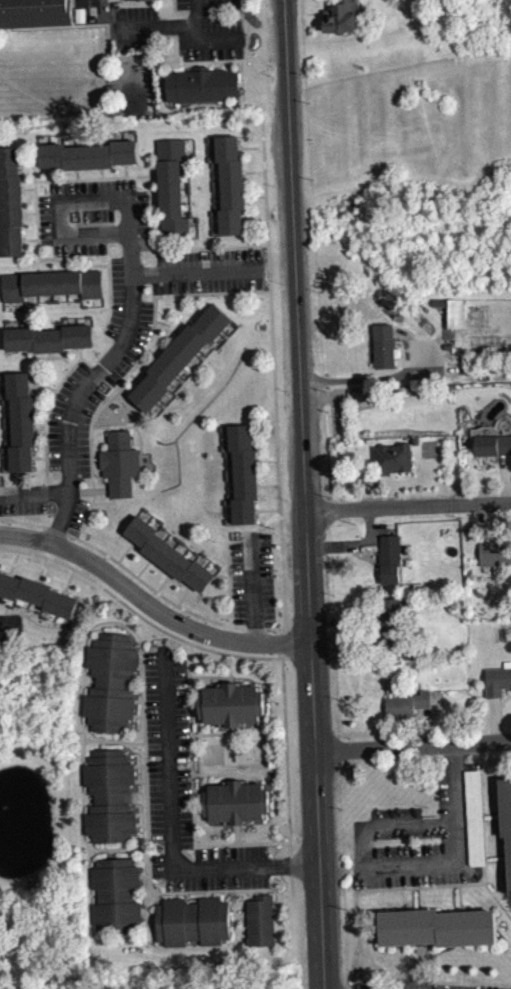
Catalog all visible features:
building: (141, 3)
building: (35, 13)
building: (341, 17)
road: (168, 23)
parking lot: (185, 27)
road: (212, 39)
road: (189, 40)
building: (203, 84)
road: (250, 147)
building: (88, 154)
road: (126, 169)
road: (254, 171)
road: (52, 172)
road: (102, 172)
road: (77, 173)
road: (155, 175)
road: (85, 177)
building: (231, 185)
road: (28, 187)
building: (172, 189)
road: (150, 194)
road: (255, 196)
building: (11, 202)
road: (30, 211)
parking lot: (95, 216)
road: (254, 220)
road: (37, 226)
road: (157, 226)
road: (30, 238)
road: (187, 247)
road: (23, 263)
road: (96, 264)
parking lot: (208, 270)
road: (197, 272)
building: (52, 283)
road: (199, 293)
road: (110, 295)
road: (135, 300)
road: (194, 305)
building: (450, 309)
road: (155, 320)
building: (49, 338)
building: (383, 344)
road: (142, 352)
road: (50, 354)
building: (179, 356)
road: (44, 357)
parking lot: (99, 370)
road: (391, 375)
road: (43, 384)
road: (111, 390)
road: (48, 409)
building: (21, 420)
road: (96, 426)
road: (40, 432)
road: (264, 436)
building: (492, 444)
road: (39, 457)
building: (391, 458)
road: (266, 460)
building: (119, 463)
building: (243, 473)
road: (87, 477)
road: (268, 485)
road: (93, 494)
road: (305, 494)
road: (33, 495)
parking lot: (22, 499)
road: (408, 506)
road: (89, 508)
road: (267, 508)
road: (280, 529)
road: (250, 530)
road: (125, 551)
building: (495, 552)
building: (168, 554)
building: (389, 558)
road: (13, 562)
road: (142, 567)
building: (510, 567)
road: (41, 569)
parking lot: (252, 578)
road: (68, 580)
road: (163, 581)
road: (229, 584)
road: (252, 587)
building: (37, 593)
road: (184, 595)
road: (152, 604)
road: (7, 605)
road: (21, 605)
road: (34, 612)
road: (139, 615)
road: (47, 618)
road: (35, 621)
building: (391, 621)
road: (10, 624)
parking lot: (10, 627)
road: (139, 667)
building: (510, 674)
road: (142, 676)
road: (212, 676)
building: (110, 681)
building: (497, 689)
road: (82, 693)
road: (144, 703)
building: (231, 703)
building: (407, 704)
road: (213, 732)
road: (414, 747)
road: (286, 755)
road: (139, 764)
road: (216, 773)
road: (140, 780)
parking lot: (183, 791)
road: (192, 791)
building: (109, 795)
building: (236, 802)
road: (489, 811)
road: (141, 814)
building: (506, 819)
road: (142, 823)
building: (476, 825)
road: (368, 831)
road: (171, 833)
road: (238, 833)
parking lot: (424, 836)
road: (114, 849)
road: (151, 868)
road: (145, 875)
road: (440, 886)
road: (264, 888)
road: (193, 890)
road: (211, 893)
building: (117, 894)
road: (175, 894)
road: (459, 897)
road: (411, 898)
road: (497, 901)
road: (242, 914)
building: (261, 919)
building: (193, 920)
road: (299, 920)
road: (148, 926)
building: (437, 926)
road: (149, 942)
road: (394, 976)
parking lot: (442, 986)

